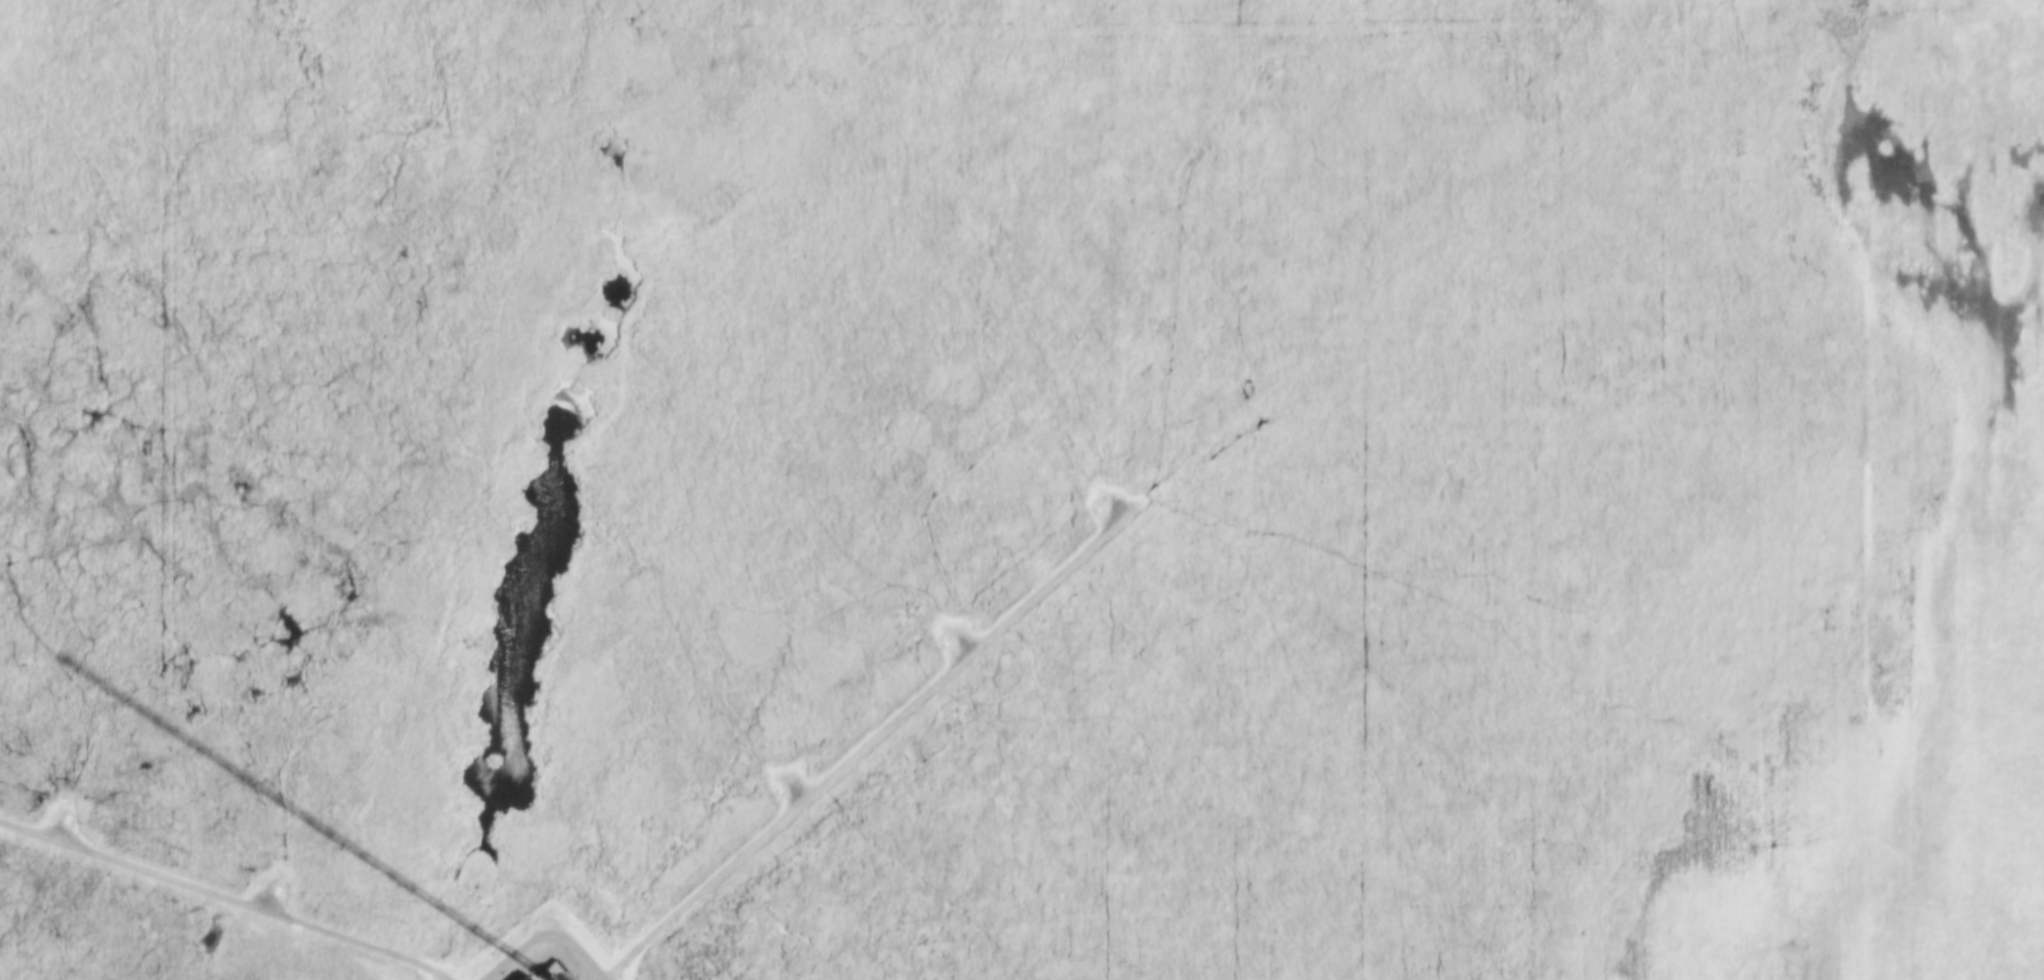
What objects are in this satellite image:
road: (860, 744)
road: (222, 899)
road: (549, 952)
building: (548, 972)
building: (523, 977)

